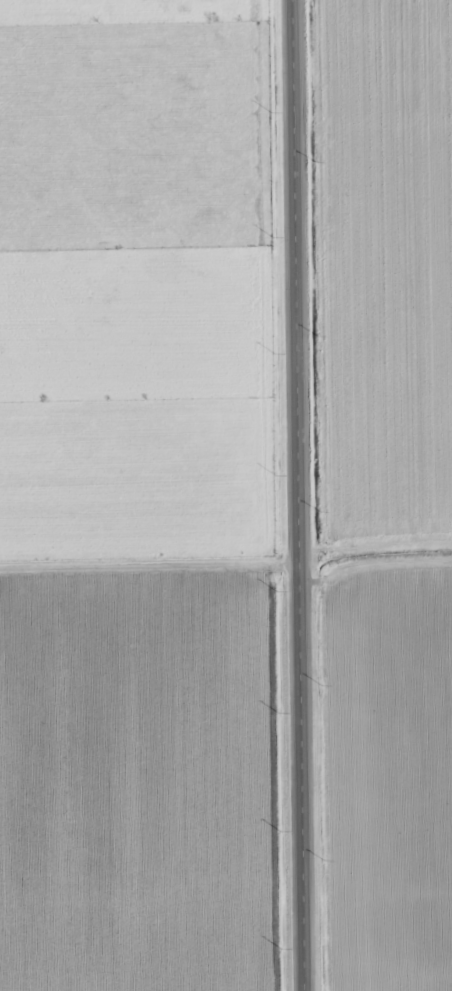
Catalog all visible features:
road: (297, 495)

